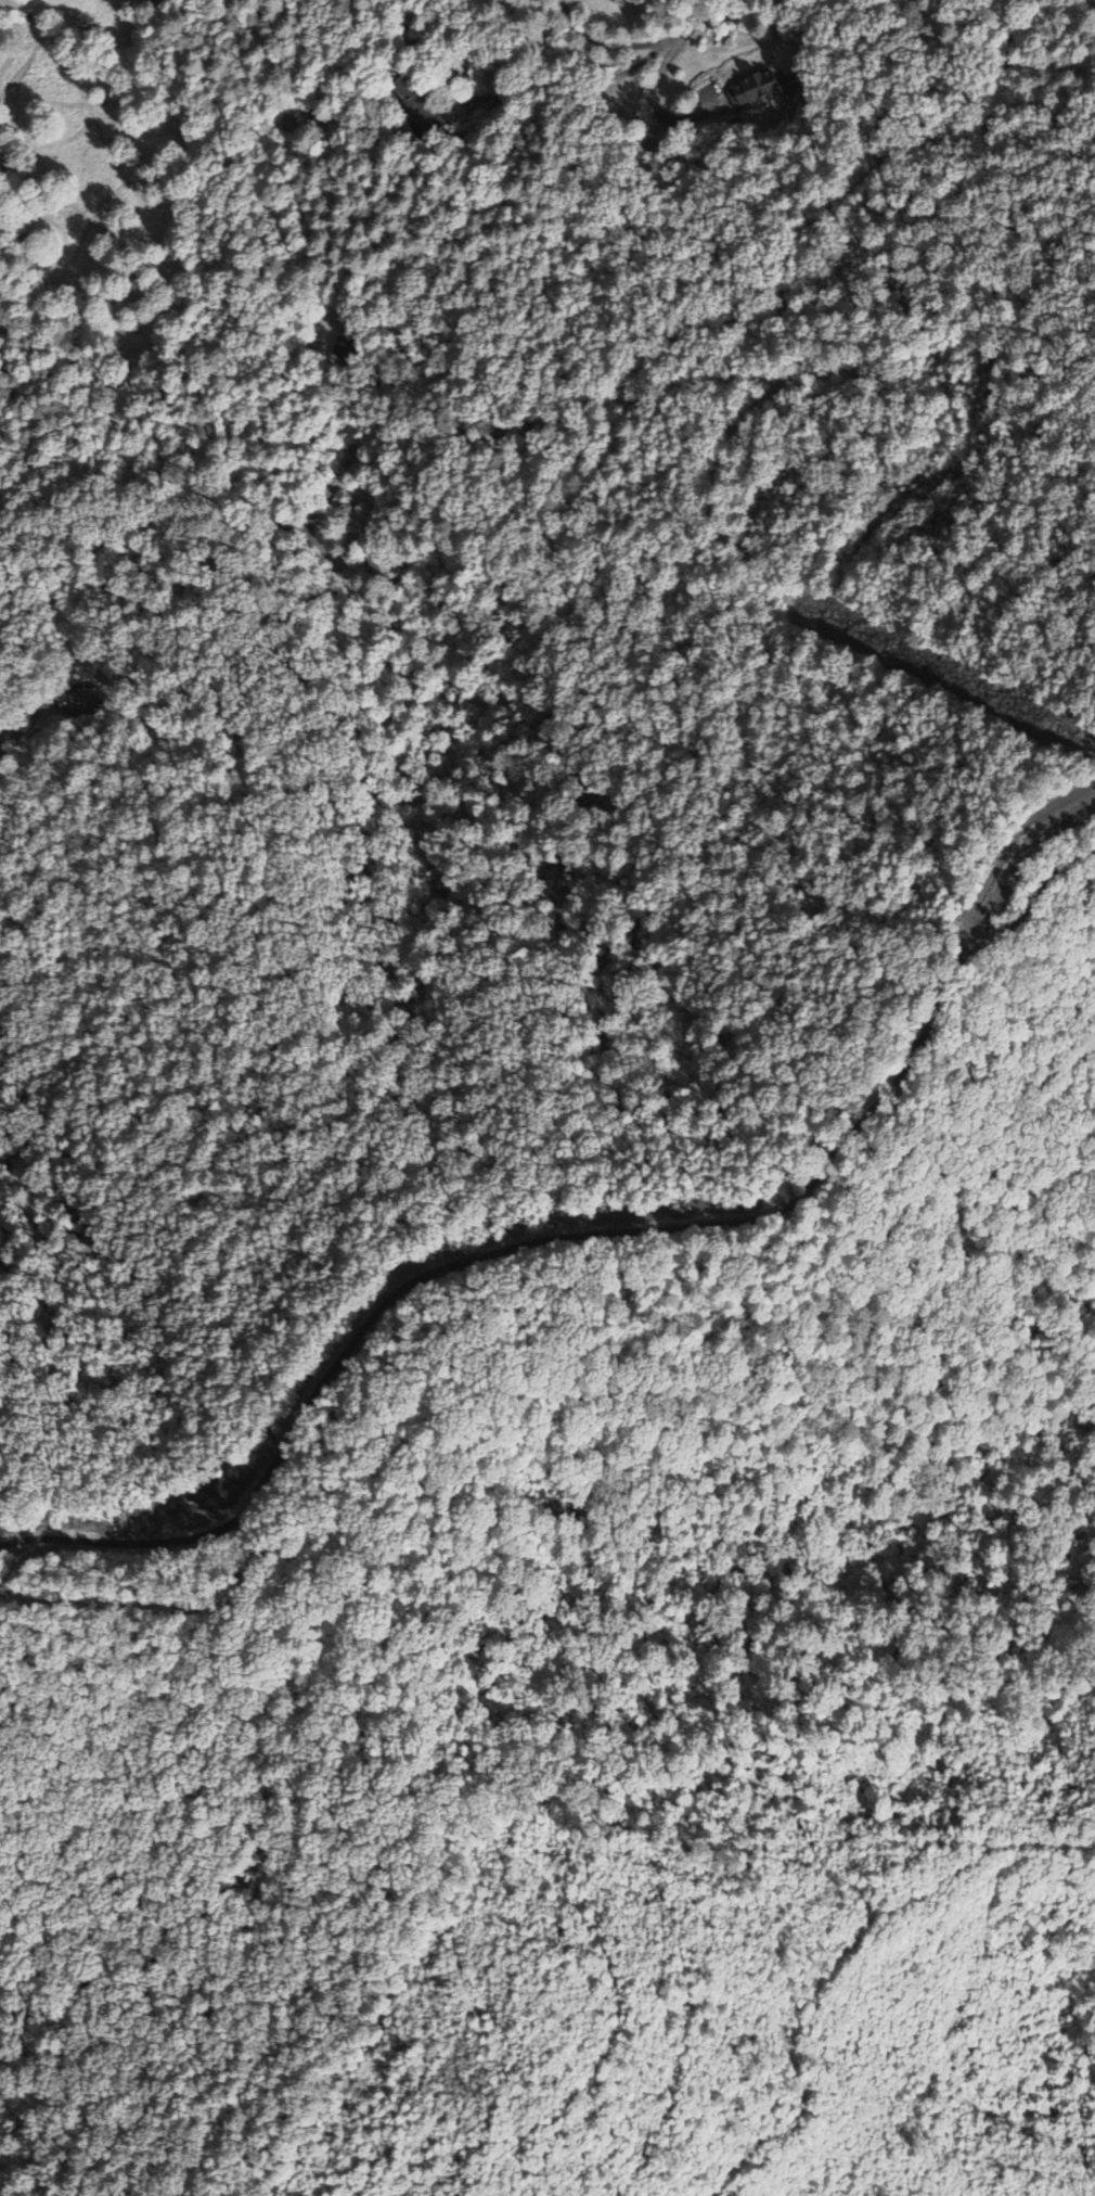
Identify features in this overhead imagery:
road: (674, 36)
road: (429, 283)
road: (735, 315)
road: (118, 526)
road: (28, 723)
road: (566, 1236)

